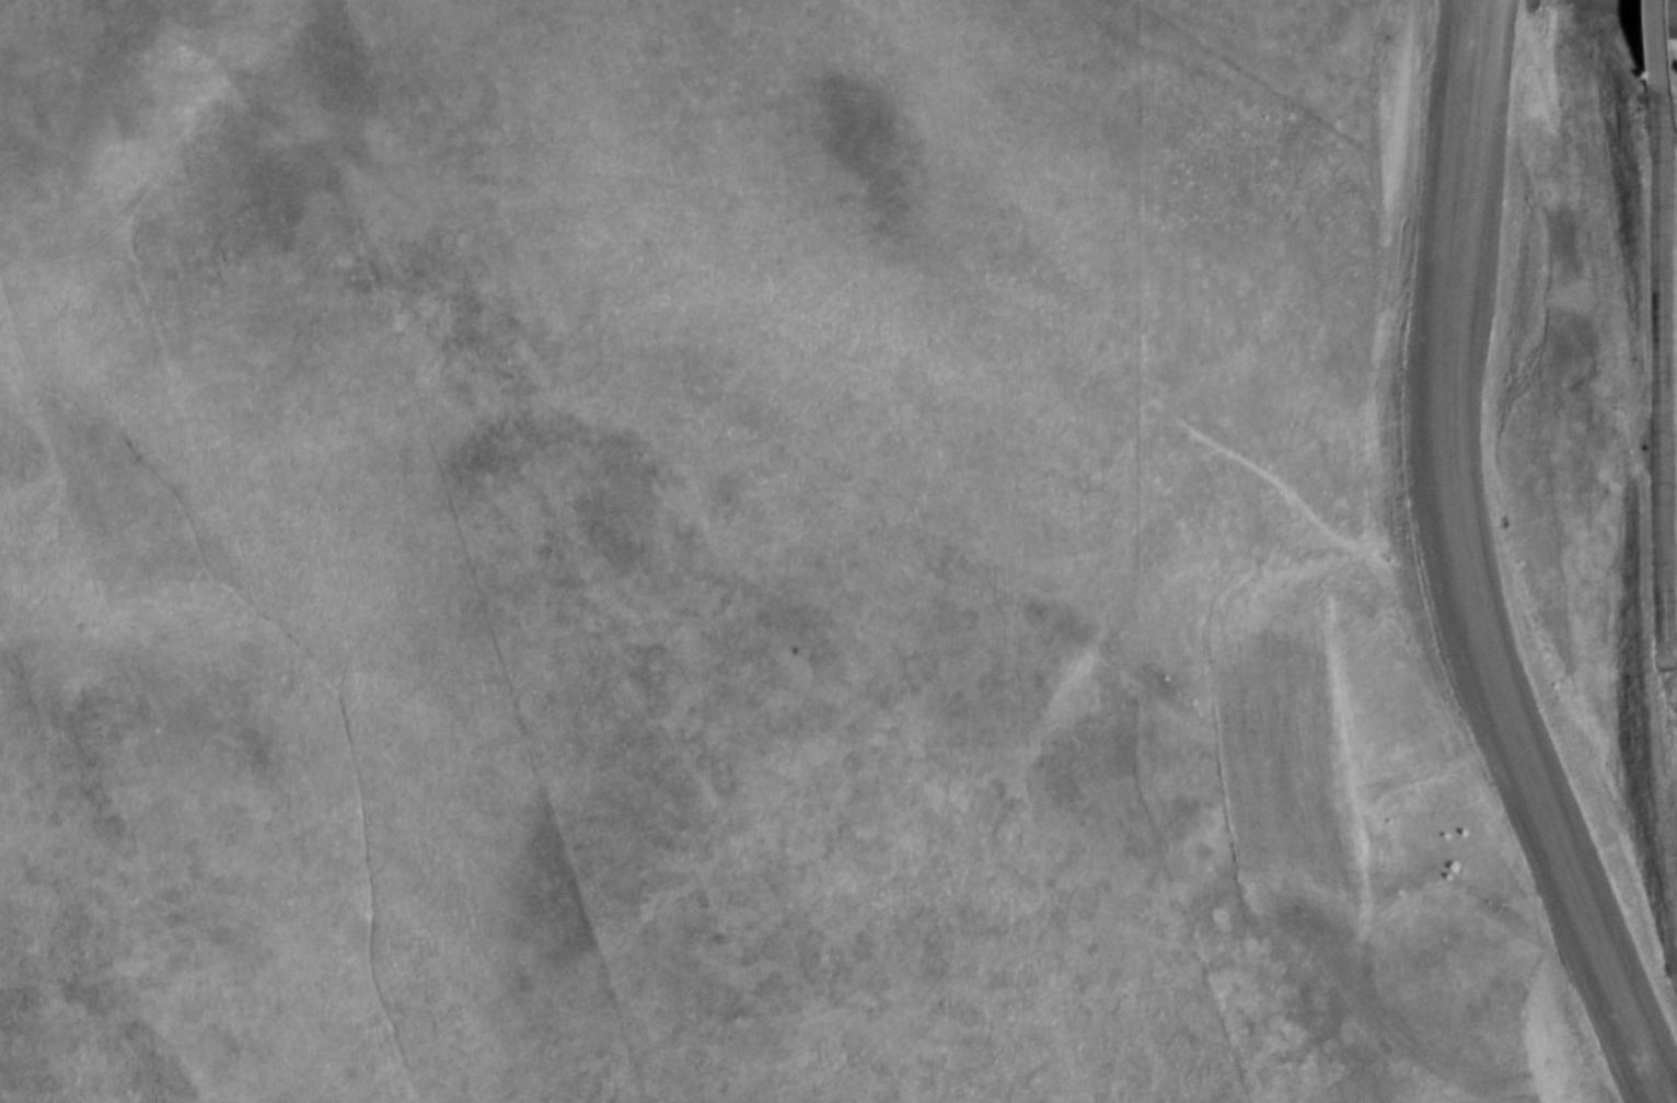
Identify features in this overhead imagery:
road: (1666, 3)
road: (1662, 45)
road: (1661, 342)
road: (1668, 597)
road: (1663, 705)

